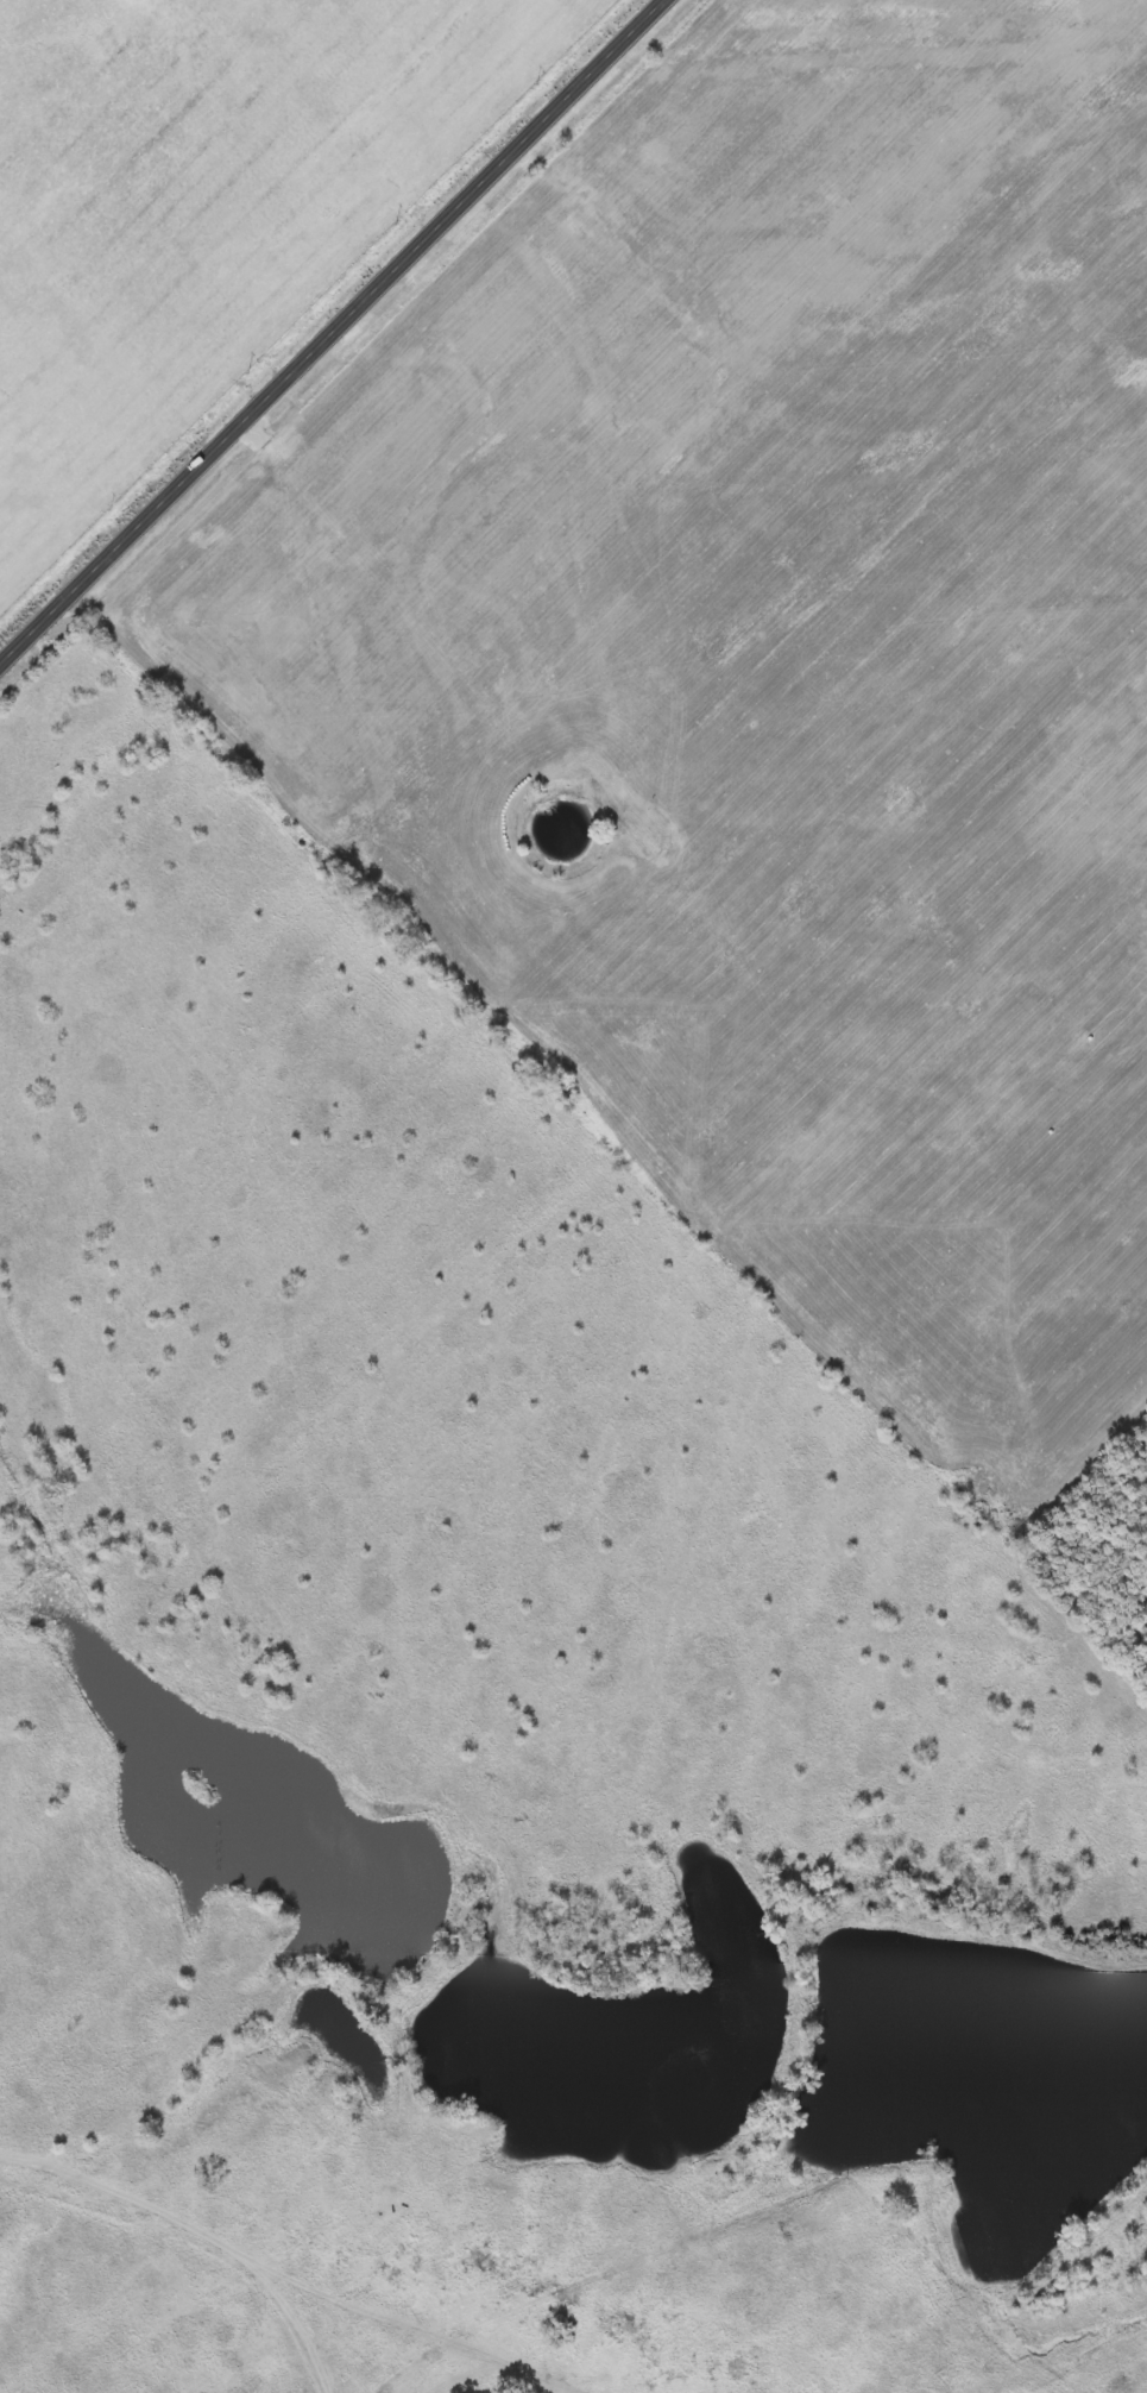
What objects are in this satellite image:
road: (329, 332)
road: (197, 2241)

